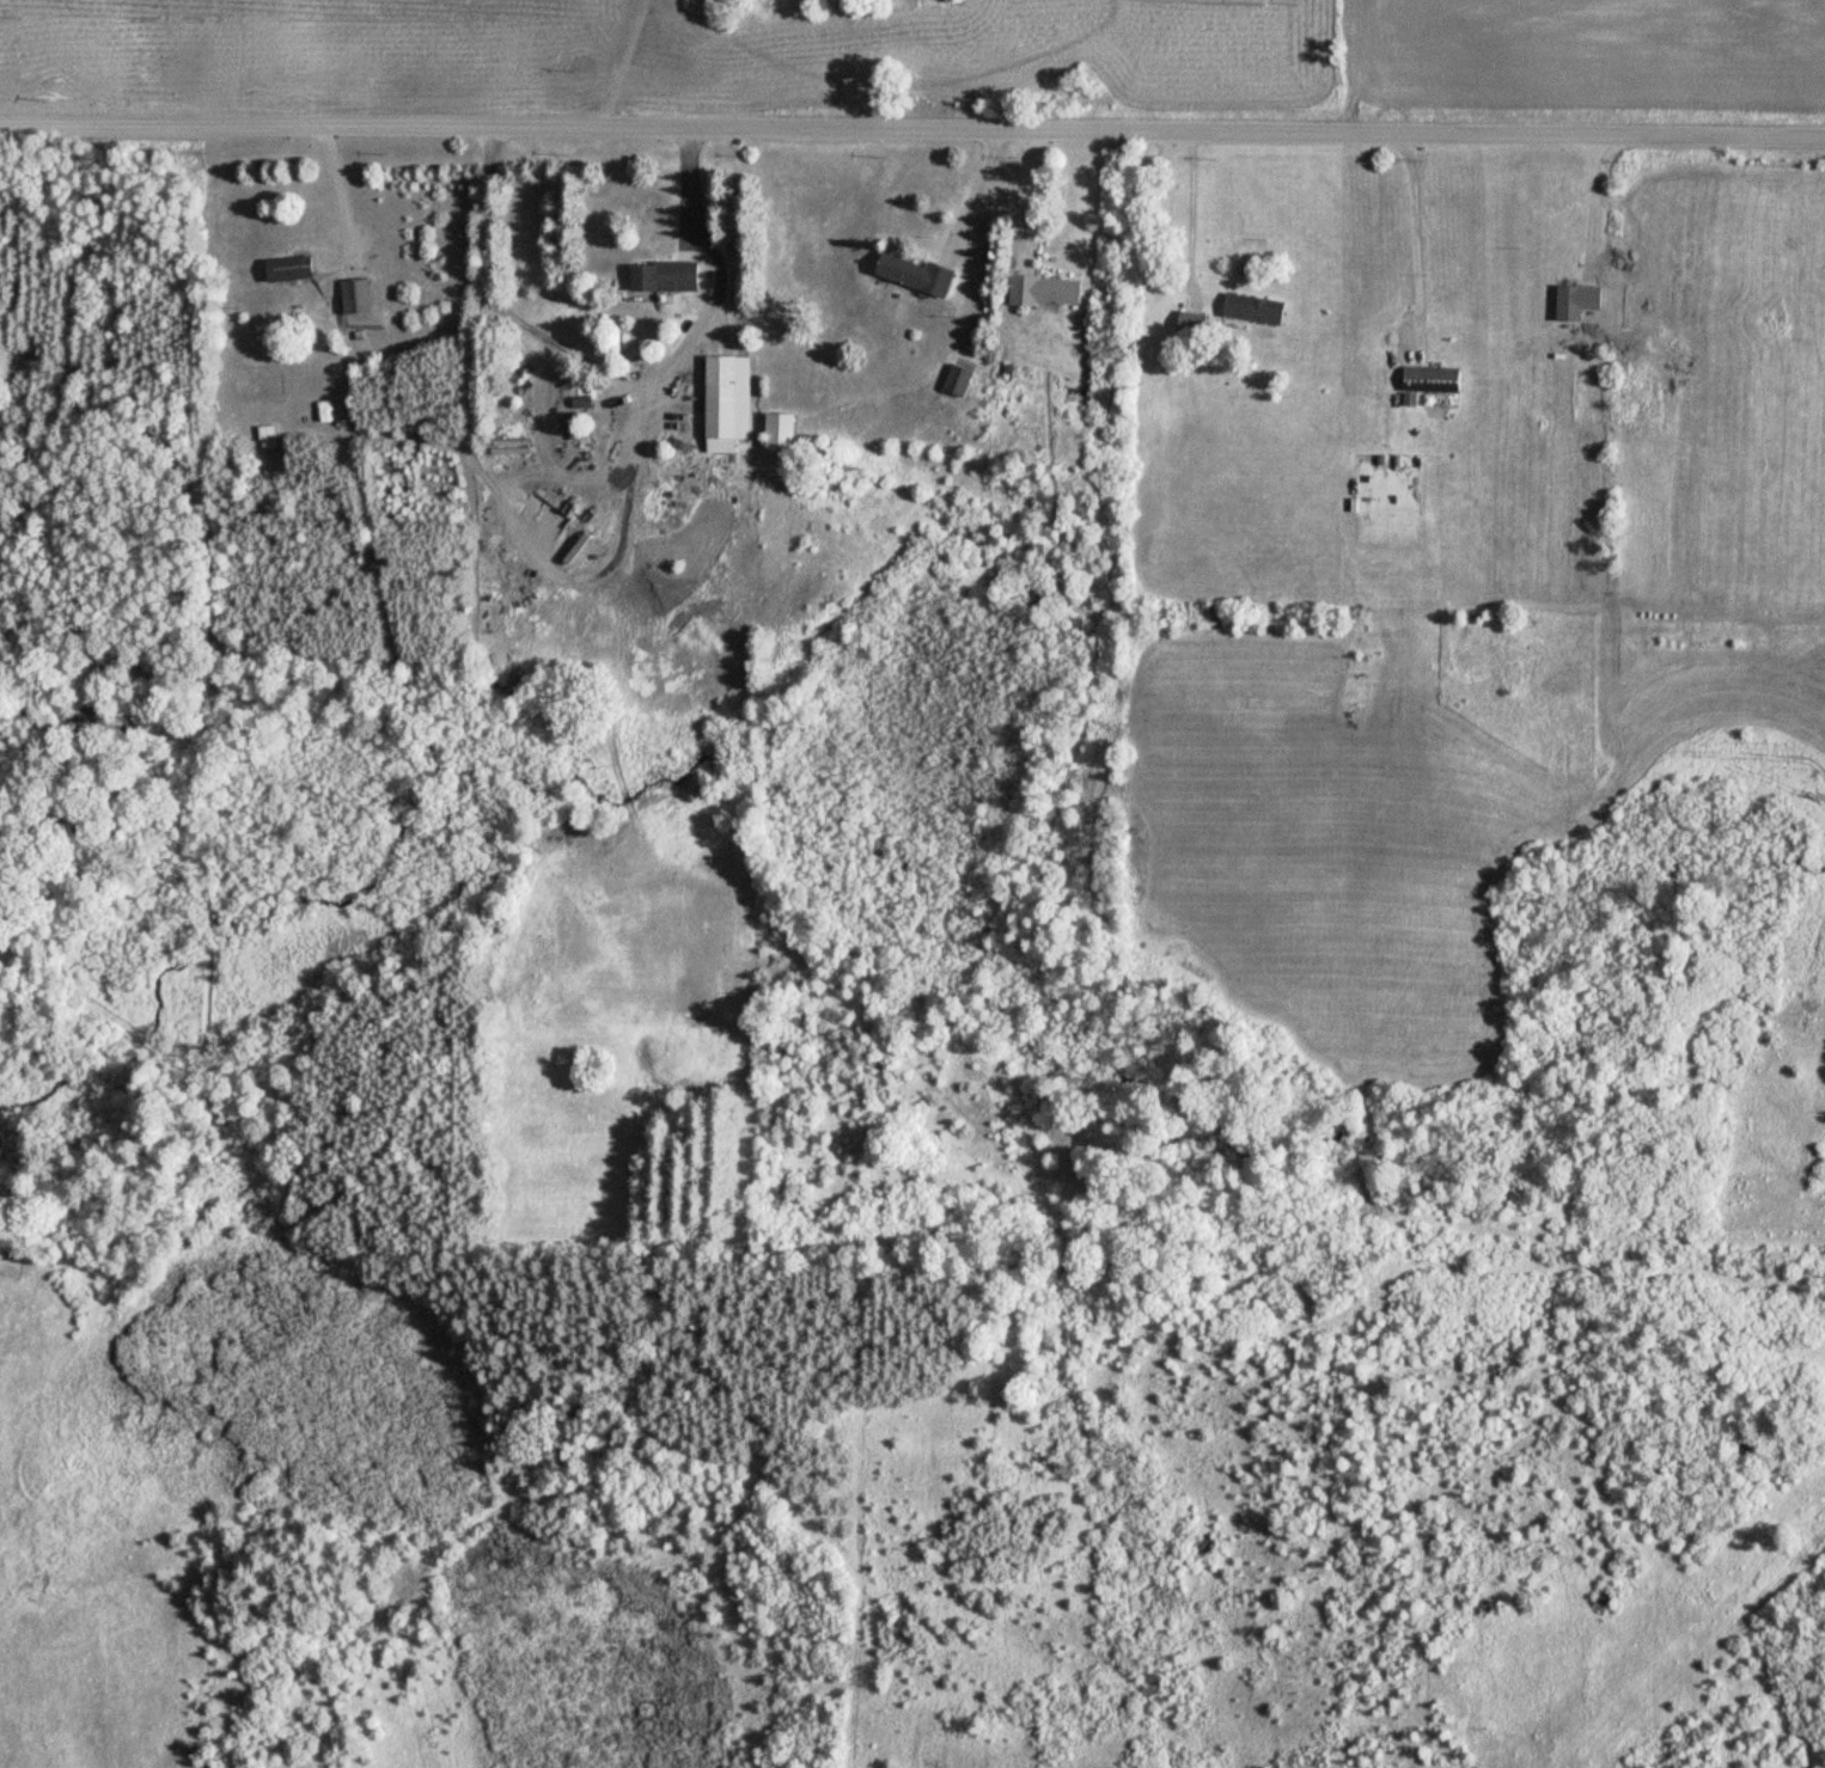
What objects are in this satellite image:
road: (912, 134)
building: (293, 269)
building: (920, 274)
building: (669, 276)
building: (1050, 292)
building: (359, 296)
building: (1580, 301)
building: (1256, 308)
building: (1192, 323)
building: (1434, 379)
building: (962, 380)
building: (730, 402)
building: (572, 424)
building: (783, 430)
building: (269, 436)
building: (513, 446)

